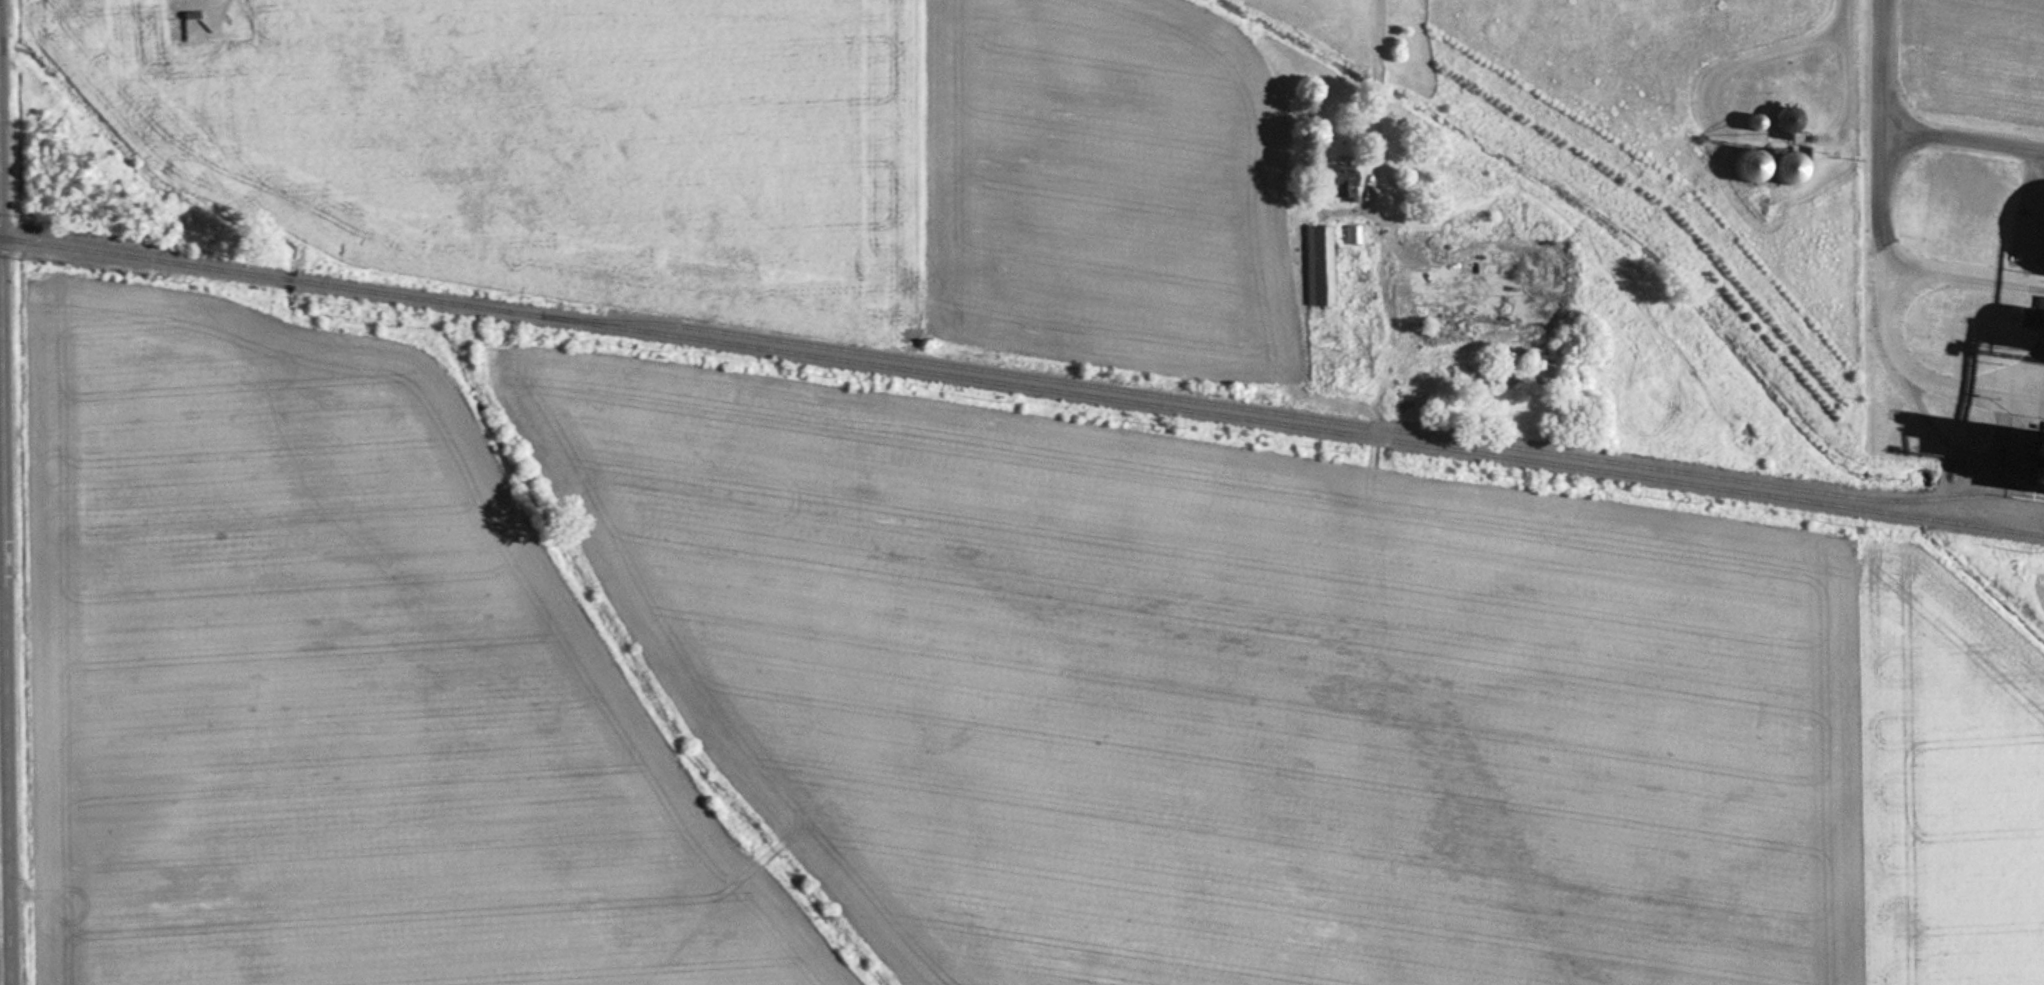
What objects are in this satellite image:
building: (193, 17)
road: (1, 119)
building: (1753, 120)
building: (1789, 120)
building: (1769, 164)
building: (1344, 184)
building: (1318, 265)
building: (2033, 315)
building: (1497, 317)
railway: (1022, 385)
railway: (1290, 415)
road: (1, 727)

